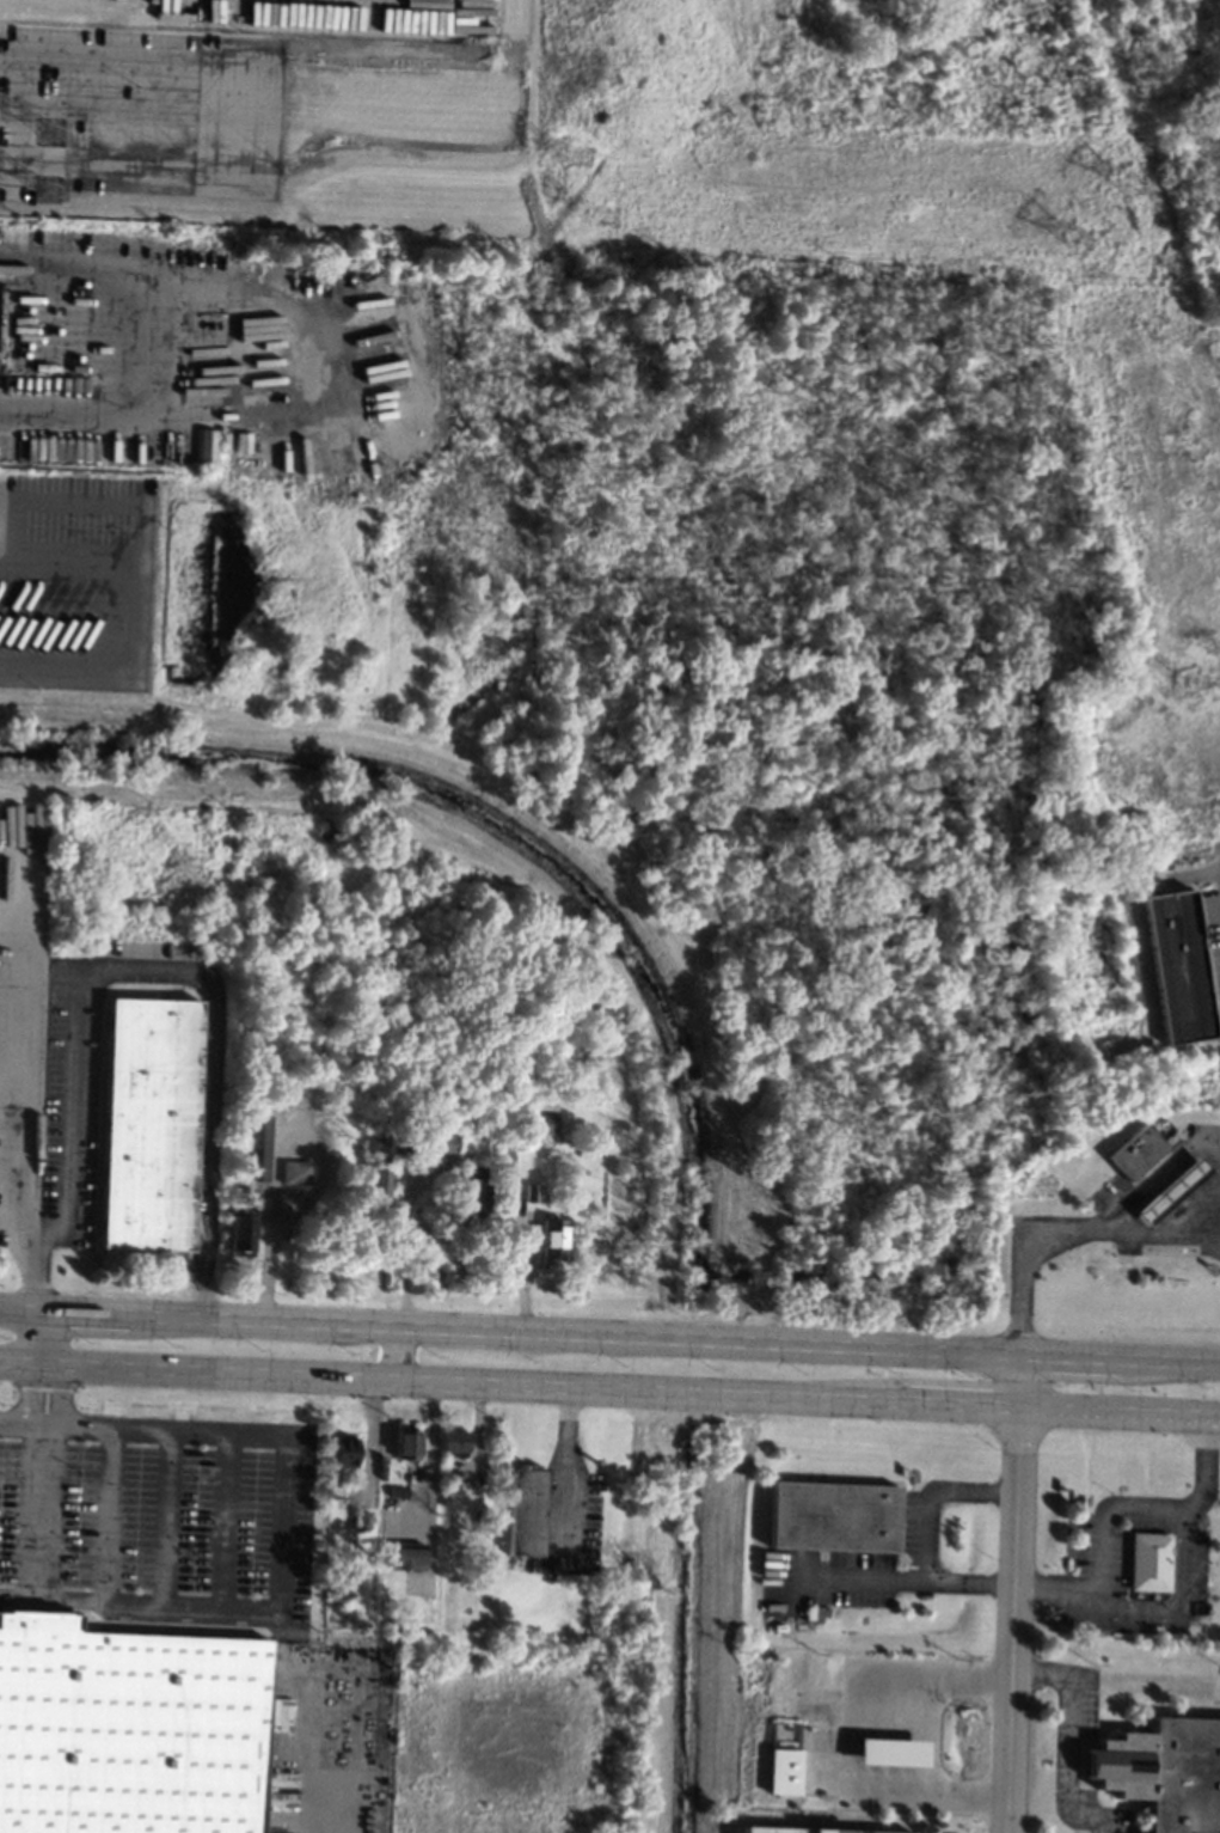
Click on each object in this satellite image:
road: (211, 14)
road: (210, 44)
road: (19, 110)
road: (134, 110)
parking lot: (140, 112)
road: (269, 115)
power tower: (51, 132)
power tower: (572, 157)
power tower: (1129, 181)
power tower: (48, 190)
power tower: (601, 218)
power tower: (1079, 238)
road: (143, 338)
building: (208, 445)
power tower: (1194, 682)
road: (1190, 874)
parking lot: (1213, 928)
building: (1178, 965)
road: (143, 971)
road: (8, 1070)
building: (548, 1099)
building: (149, 1123)
building: (545, 1123)
building: (440, 1142)
building: (372, 1144)
building: (262, 1147)
road: (277, 1150)
building: (1141, 1151)
building: (252, 1153)
building: (294, 1172)
road: (1153, 1184)
building: (376, 1185)
building: (1175, 1189)
gas station: (1175, 1189)
building: (529, 1191)
building: (241, 1196)
building: (472, 1197)
building: (240, 1233)
road: (1074, 1235)
building: (551, 1240)
road: (400, 1245)
road: (609, 1334)
road: (393, 1352)
road: (38, 1367)
road: (59, 1368)
road: (609, 1388)
road: (142, 1428)
building: (452, 1441)
building: (406, 1443)
building: (343, 1450)
road: (563, 1458)
road: (1209, 1465)
building: (447, 1475)
building: (397, 1491)
road: (932, 1493)
road: (1106, 1507)
building: (525, 1510)
road: (43, 1511)
road: (109, 1514)
parking lot: (153, 1515)
building: (832, 1515)
road: (165, 1516)
building: (479, 1516)
road: (227, 1520)
building: (366, 1521)
road: (282, 1522)
building: (405, 1556)
building: (1151, 1560)
parking lot: (1103, 1562)
road: (907, 1577)
road: (1057, 1585)
road: (1013, 1593)
road: (139, 1603)
road: (1184, 1603)
road: (934, 1667)
building: (128, 1729)
road: (1071, 1735)
building: (888, 1752)
road: (928, 1768)
building: (781, 1771)
building: (1165, 1772)
building: (863, 1829)

